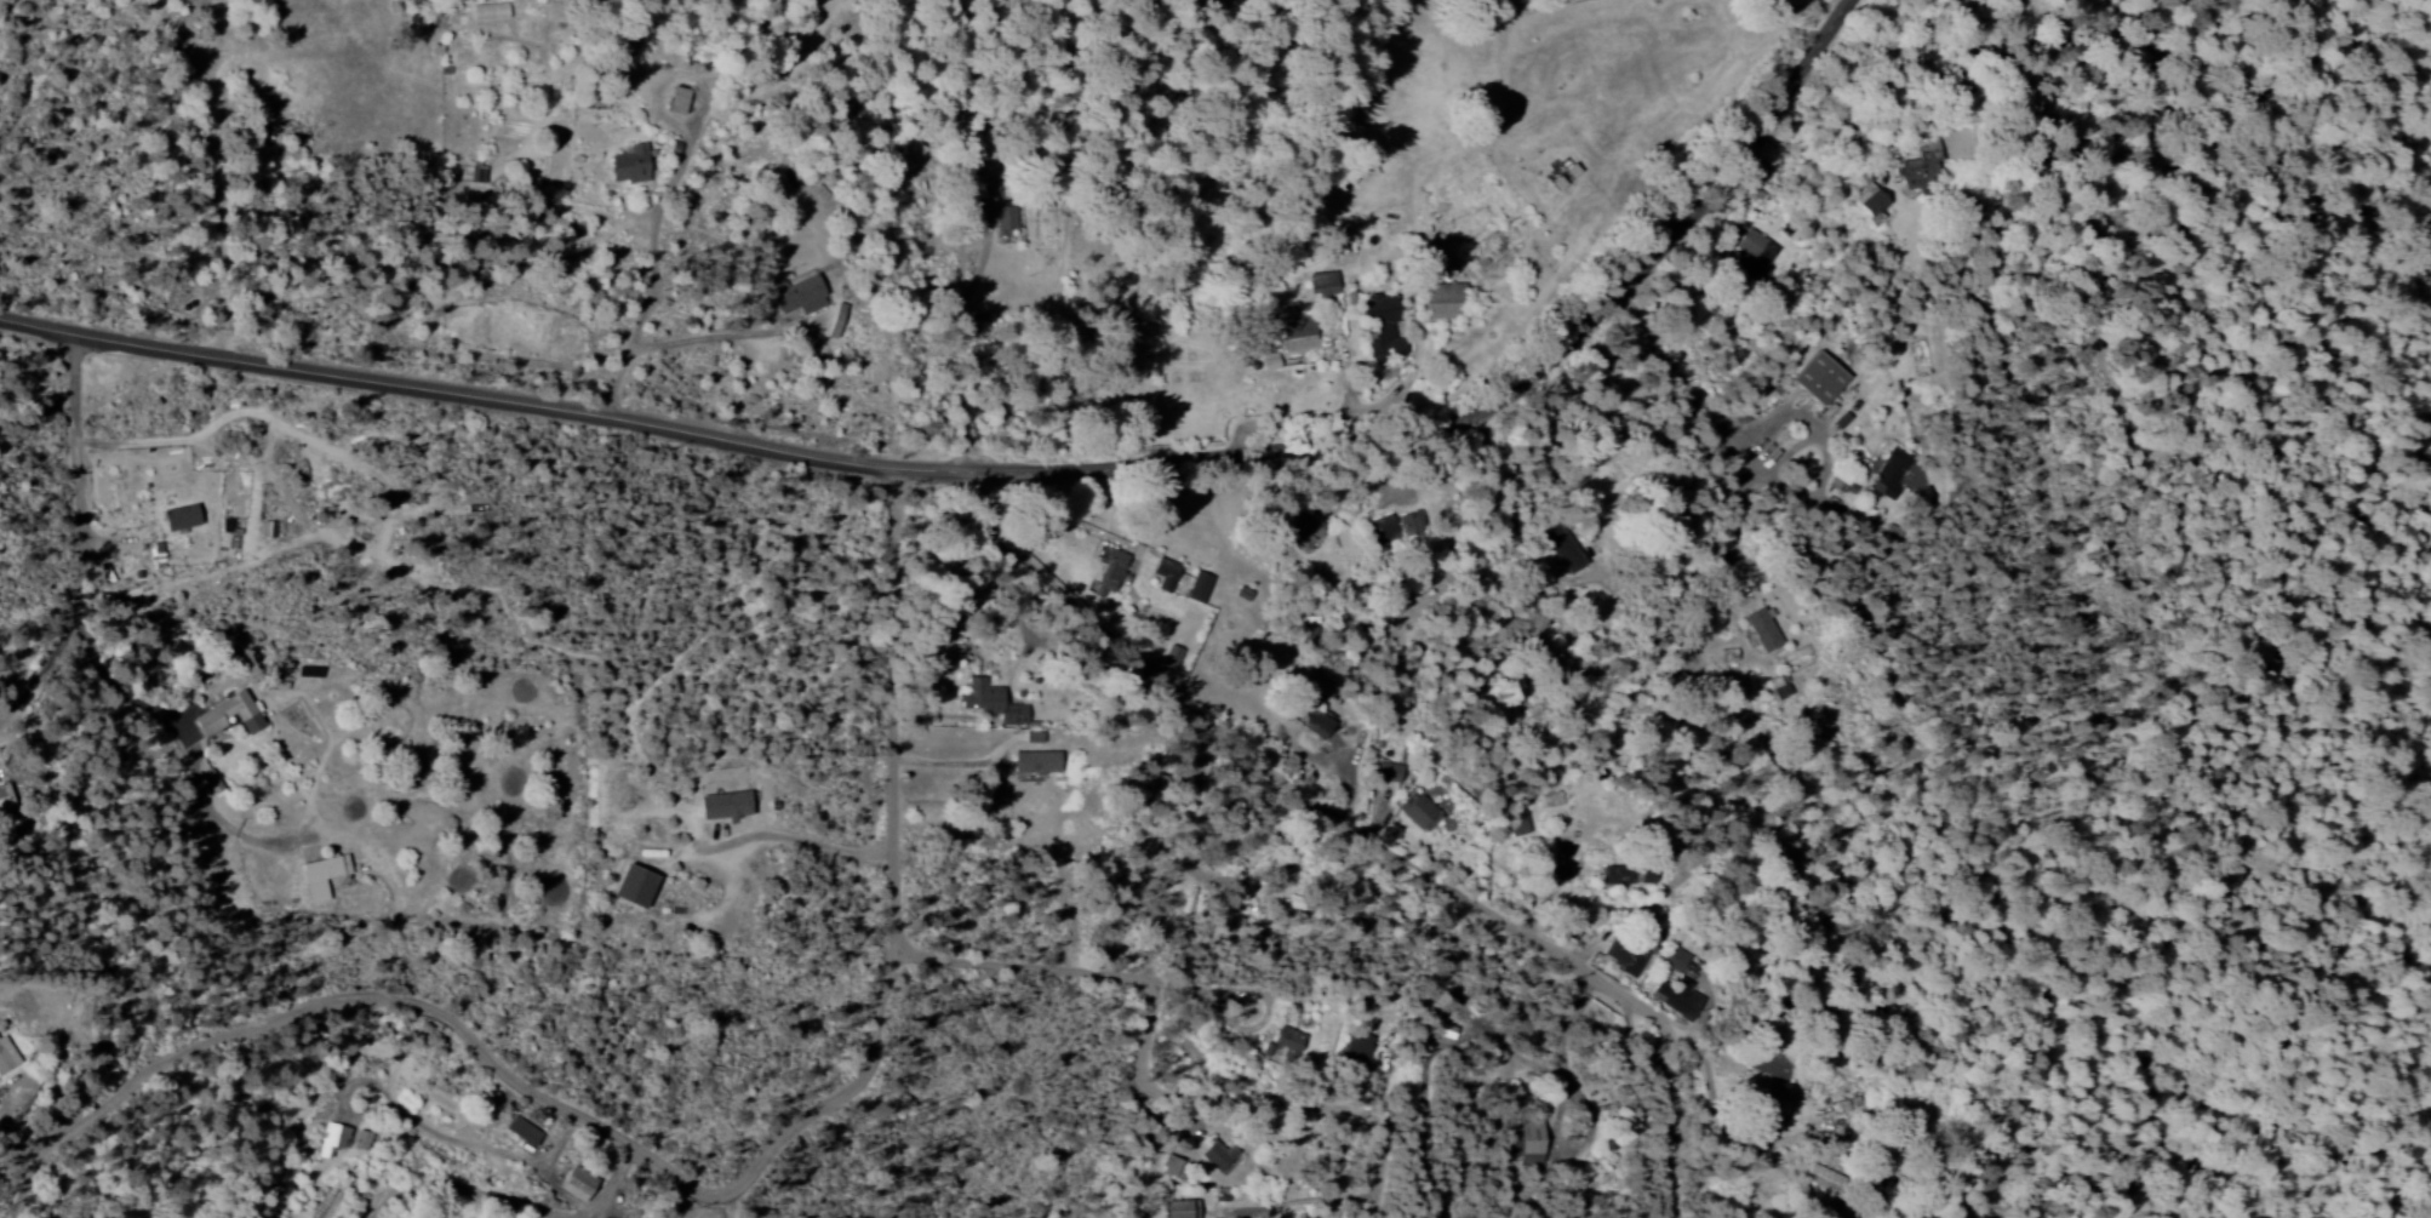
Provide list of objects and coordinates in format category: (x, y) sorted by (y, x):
building: (488, 11)
building: (674, 101)
building: (1920, 165)
building: (1558, 173)
building: (984, 189)
building: (1866, 201)
building: (1002, 222)
building: (1488, 247)
building: (1755, 255)
building: (1321, 284)
building: (797, 297)
building: (1441, 301)
building: (1379, 326)
building: (1294, 332)
building: (1268, 361)
building: (1815, 379)
building: (1887, 474)
road: (1024, 478)
building: (1920, 496)
building: (177, 516)
building: (1411, 522)
building: (1379, 530)
building: (1304, 533)
building: (1562, 545)
building: (1108, 572)
building: (1162, 573)
building: (1196, 587)
building: (1760, 629)
building: (1168, 659)
building: (1777, 686)
building: (990, 702)
building: (1306, 711)
building: (225, 714)
building: (1034, 761)
building: (1386, 771)
building: (2, 796)
building: (1550, 799)
building: (721, 804)
building: (1417, 811)
building: (1517, 822)
road: (1397, 859)
road: (896, 871)
building: (1615, 874)
building: (319, 875)
building: (1645, 875)
building: (630, 886)
building: (1623, 954)
building: (1672, 957)
road: (1148, 982)
building: (1675, 997)
road: (361, 1005)
road: (1481, 1025)
building: (1286, 1039)
building: (1355, 1048)
building: (1767, 1062)
building: (1847, 1104)
building: (519, 1132)
building: (331, 1138)
building: (359, 1139)
road: (1380, 1139)
building: (1525, 1140)
building: (1214, 1155)
building: (1820, 1176)
building: (573, 1182)
building: (1177, 1208)
road: (723, 1210)

